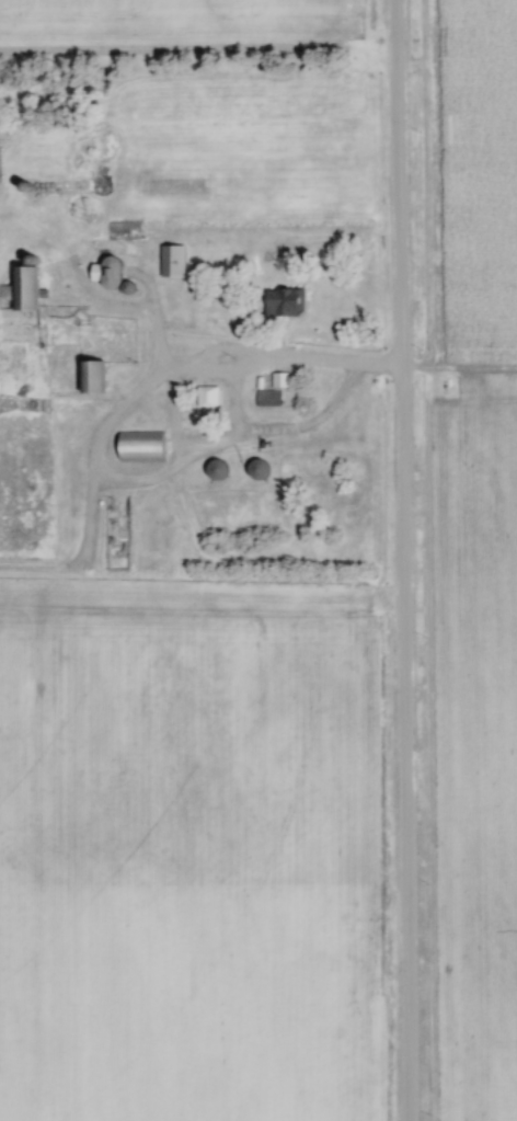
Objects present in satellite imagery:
building: (120, 229)
building: (169, 260)
building: (280, 300)
road: (220, 371)
building: (88, 375)
building: (204, 397)
building: (264, 399)
building: (136, 446)
building: (212, 469)
building: (253, 469)
road: (404, 560)
building: (200, 667)

